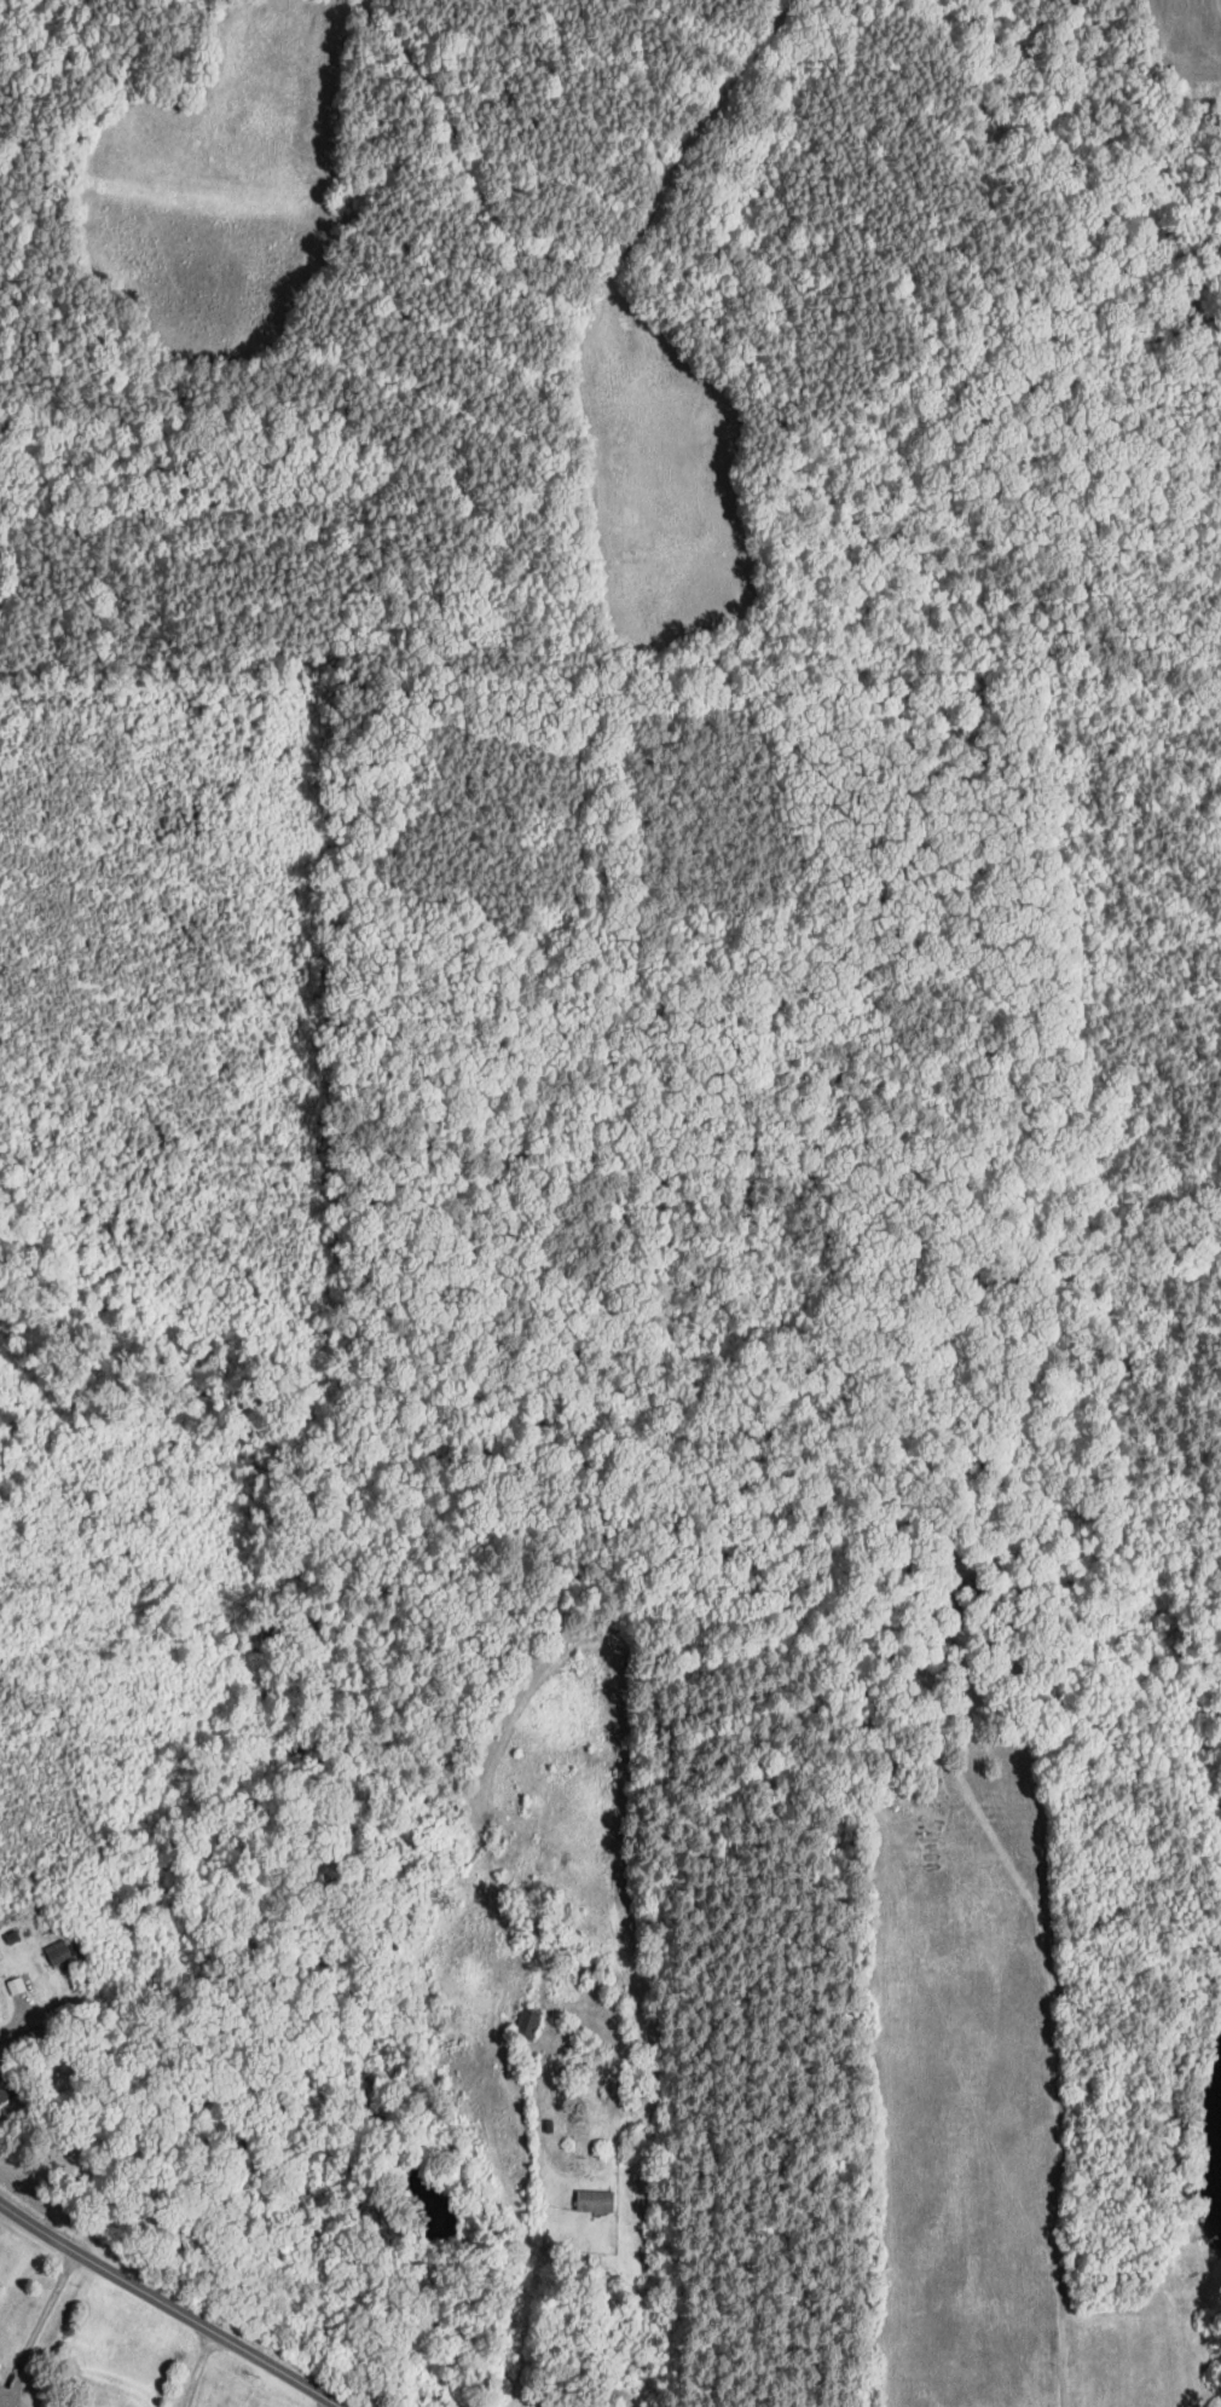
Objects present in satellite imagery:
building: (972, 1591)
building: (58, 1953)
road: (1051, 2003)
road: (19, 2020)
building: (528, 2022)
building: (7, 2085)
building: (595, 2201)
road: (131, 2284)
road: (39, 2330)
road: (197, 2368)
road: (301, 2384)
building: (427, 2395)

